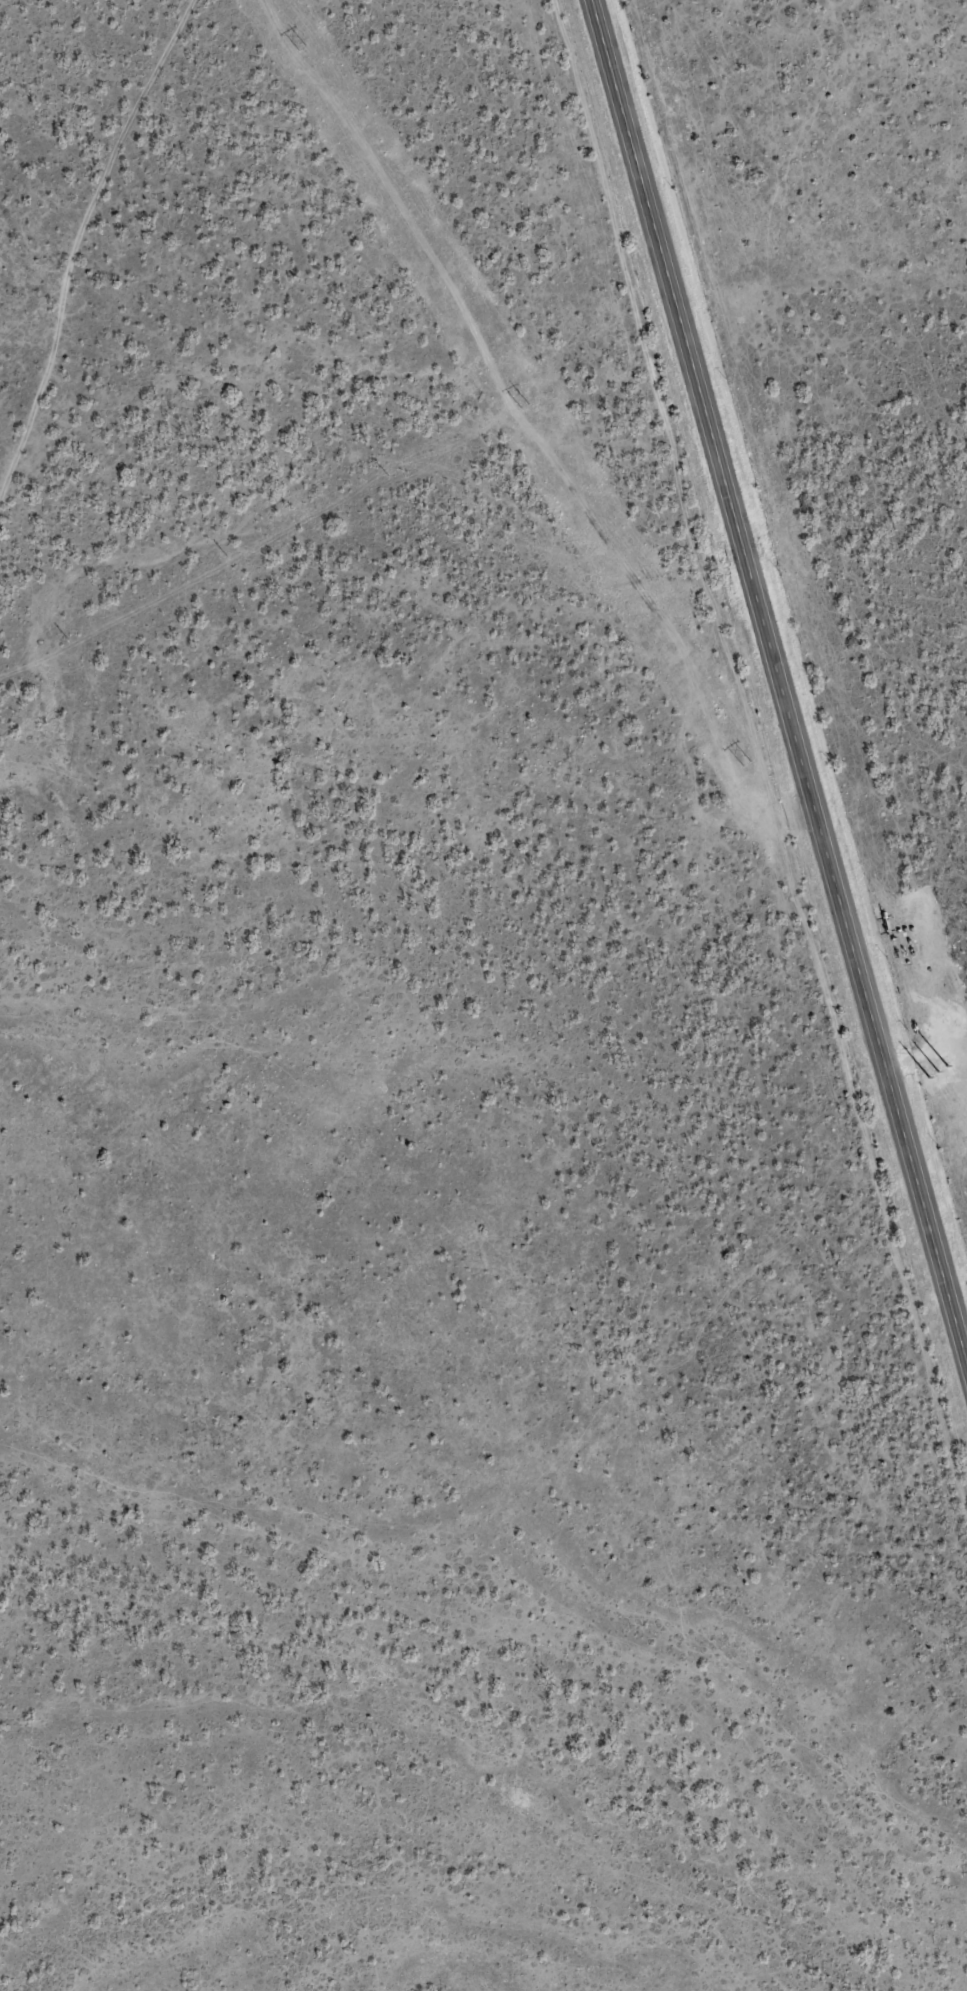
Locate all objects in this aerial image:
power tower: (303, 49)
road: (69, 141)
power tower: (525, 408)
road: (780, 676)
power tower: (746, 766)
power tower: (910, 1031)

